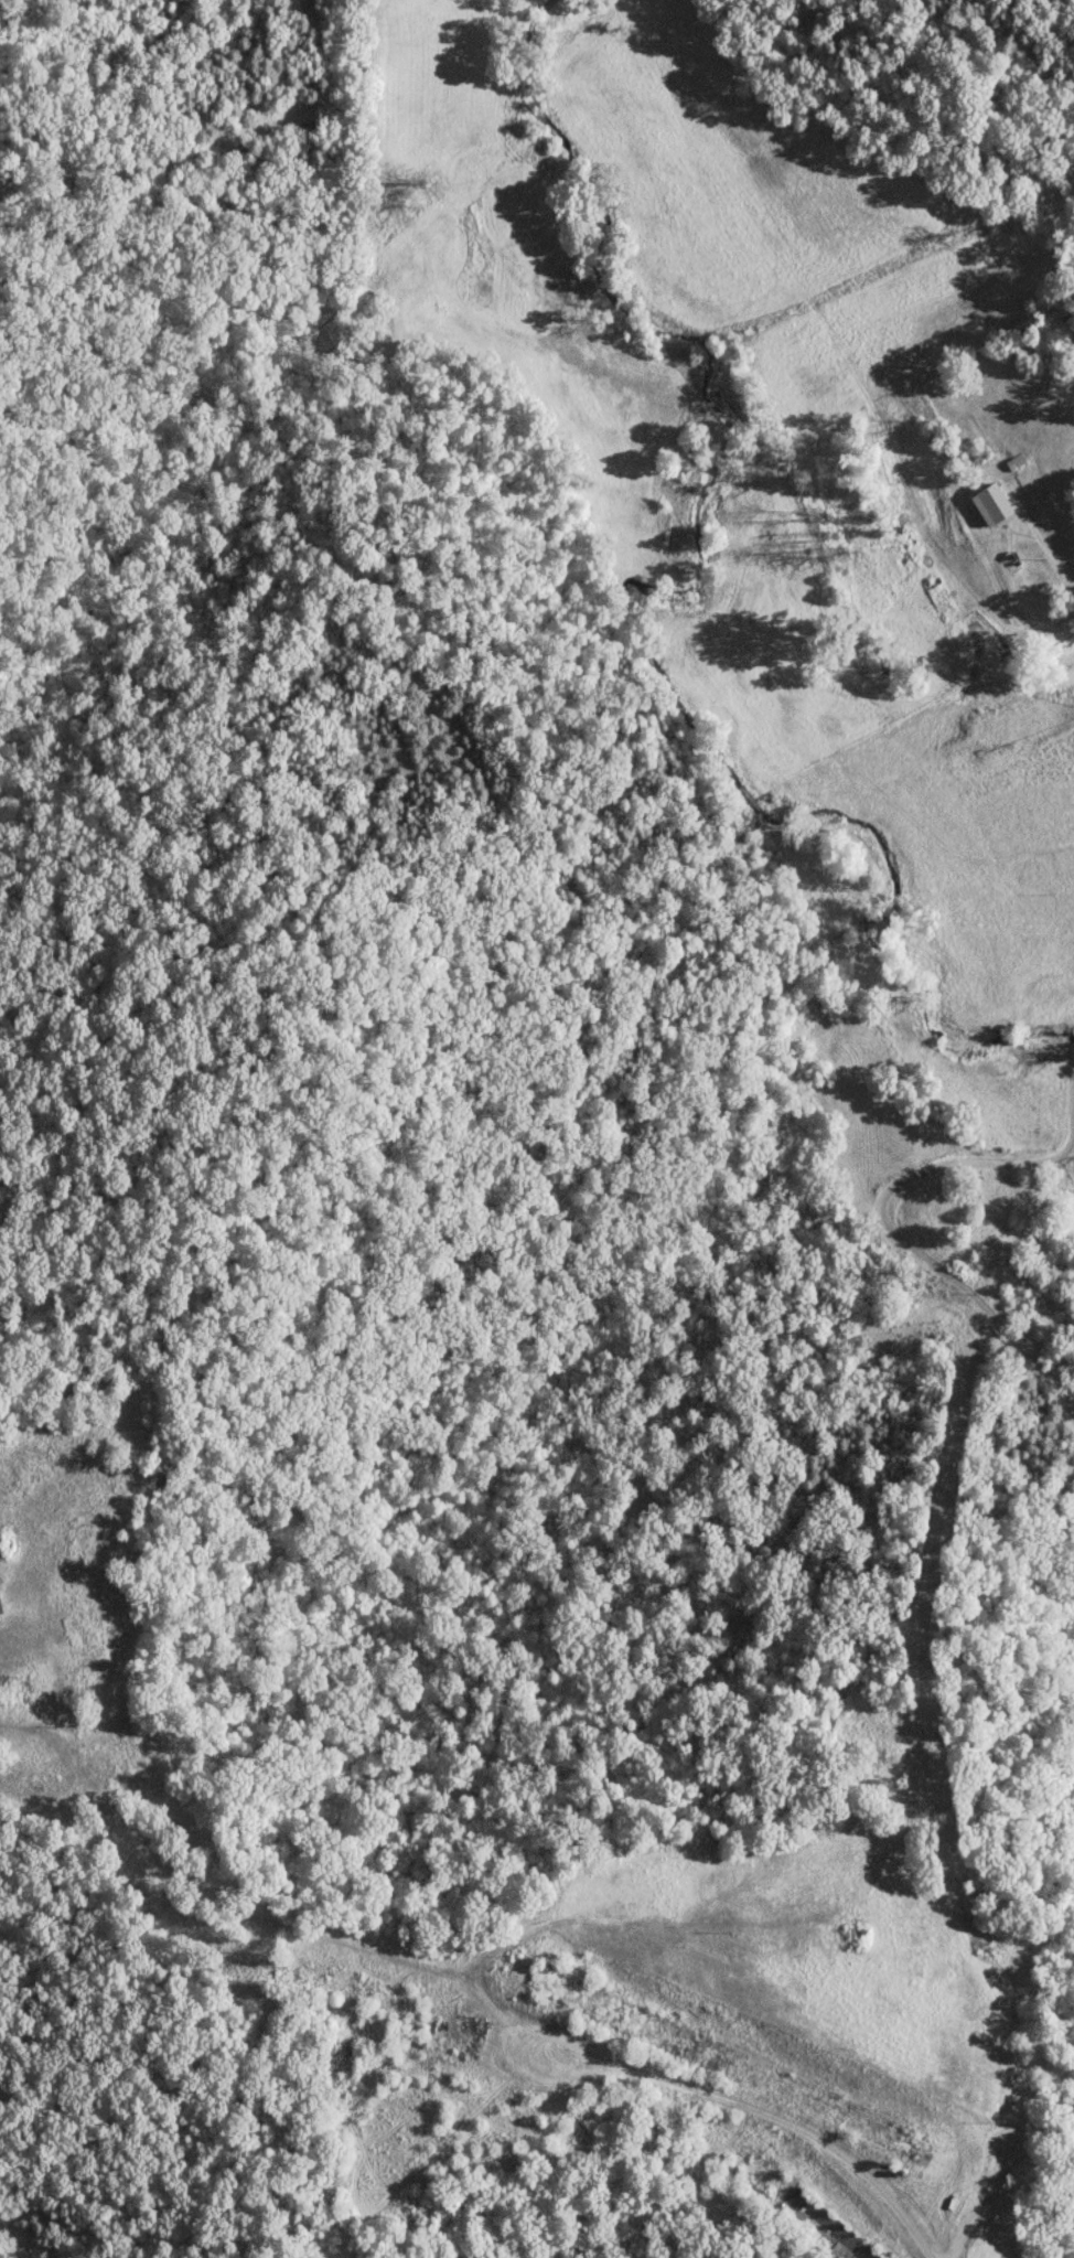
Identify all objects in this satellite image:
building: (994, 503)
building: (944, 603)
road: (1068, 617)
road: (879, 1202)
building: (1, 1605)
road: (999, 2192)
building: (805, 2211)

